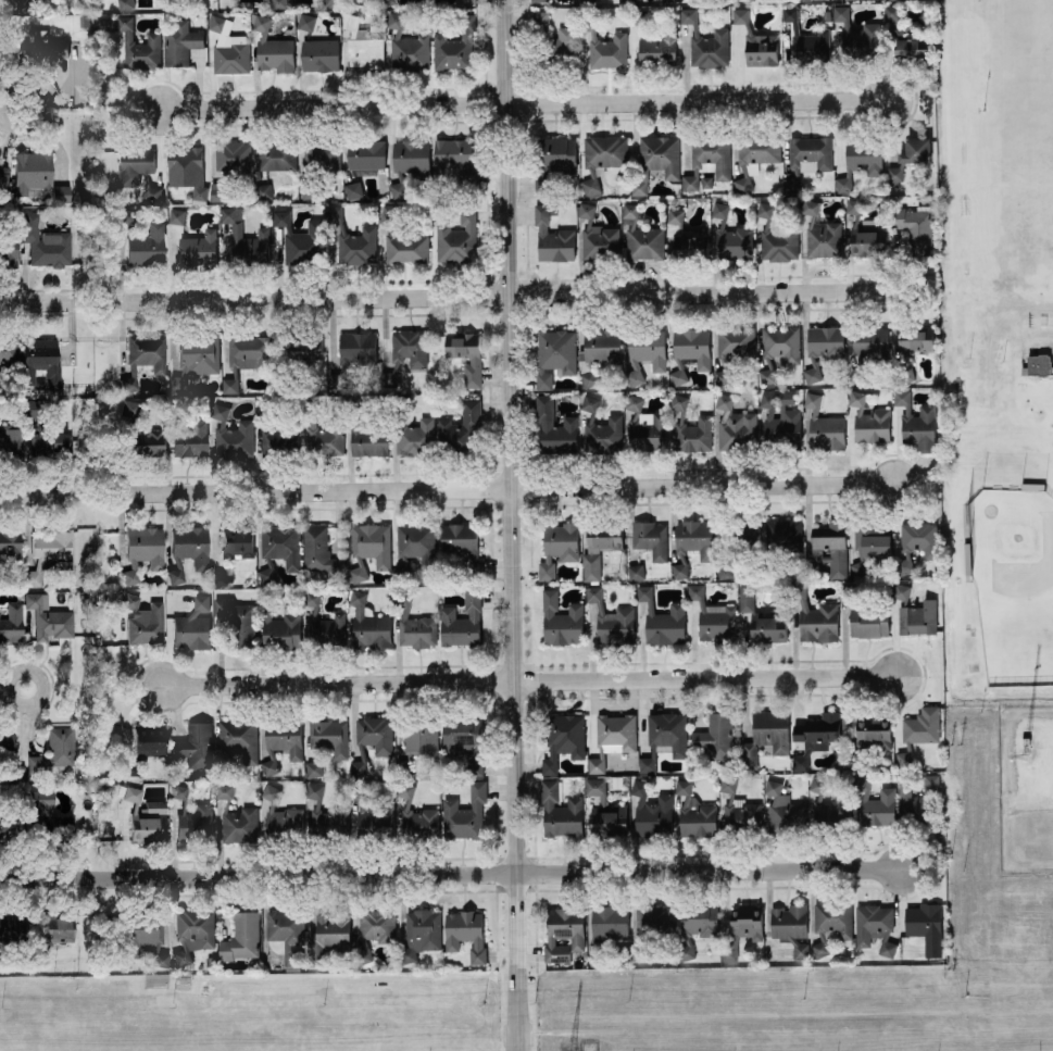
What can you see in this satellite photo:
building: (8, 0)
building: (539, 0)
building: (582, 0)
building: (626, 0)
building: (674, 0)
building: (387, 1)
building: (465, 1)
building: (330, 2)
building: (125, 3)
building: (279, 3)
building: (25, 4)
building: (74, 10)
building: (890, 12)
building: (638, 15)
building: (740, 15)
building: (540, 18)
building: (84, 20)
building: (306, 21)
building: (106, 24)
building: (856, 34)
building: (806, 40)
building: (180, 41)
building: (563, 41)
building: (706, 42)
building: (362, 45)
building: (406, 45)
building: (139, 46)
building: (603, 46)
building: (228, 47)
building: (273, 48)
building: (657, 48)
building: (911, 48)
building: (42, 49)
building: (762, 49)
building: (452, 51)
building: (321, 54)
building: (5, 55)
park: (1027, 82)
road: (525, 102)
road: (41, 110)
building: (605, 150)
building: (757, 151)
building: (277, 154)
building: (366, 155)
building: (910, 157)
building: (707, 158)
building: (807, 158)
building: (555, 160)
building: (861, 160)
building: (319, 161)
building: (409, 161)
building: (655, 161)
building: (455, 162)
building: (229, 164)
building: (137, 168)
building: (187, 170)
building: (32, 171)
building: (149, 178)
building: (4, 180)
building: (742, 184)
building: (591, 186)
building: (352, 188)
building: (263, 190)
building: (61, 193)
building: (176, 214)
building: (914, 228)
building: (865, 232)
building: (820, 233)
building: (641, 235)
building: (731, 235)
building: (597, 236)
building: (298, 237)
building: (456, 237)
building: (552, 237)
building: (776, 237)
building: (685, 238)
building: (352, 239)
building: (401, 239)
building: (246, 240)
building: (45, 241)
building: (143, 241)
building: (197, 248)
building: (9, 250)
road: (526, 296)
road: (36, 303)
building: (912, 346)
building: (732, 347)
building: (822, 347)
building: (778, 348)
building: (866, 348)
building: (9, 350)
building: (689, 350)
building: (406, 351)
building: (353, 352)
building: (597, 352)
building: (645, 352)
building: (465, 353)
building: (554, 354)
building: (246, 355)
building: (299, 355)
building: (145, 356)
building: (196, 356)
building: (40, 362)
building: (1039, 364)
building: (868, 418)
building: (780, 420)
building: (915, 421)
building: (734, 423)
building: (824, 424)
building: (554, 426)
building: (644, 426)
building: (462, 427)
building: (690, 427)
building: (601, 428)
building: (275, 430)
building: (322, 430)
building: (366, 431)
building: (140, 433)
building: (188, 433)
building: (414, 434)
building: (233, 435)
building: (47, 436)
building: (13, 440)
building: (89, 448)
road: (509, 488)
road: (37, 495)
road: (515, 525)
building: (741, 535)
building: (650, 537)
building: (781, 537)
building: (238, 540)
building: (691, 542)
building: (11, 543)
building: (869, 543)
building: (915, 543)
building: (599, 545)
building: (463, 546)
building: (831, 546)
building: (414, 547)
building: (557, 547)
building: (369, 548)
building: (278, 549)
building: (143, 550)
building: (188, 550)
building: (51, 552)
building: (321, 553)
building: (725, 568)
building: (636, 571)
building: (221, 577)
park: (1021, 595)
building: (915, 612)
building: (865, 614)
building: (713, 615)
building: (816, 616)
building: (763, 617)
building: (49, 618)
building: (662, 618)
building: (143, 620)
building: (561, 620)
building: (612, 620)
building: (461, 621)
building: (237, 622)
building: (323, 622)
building: (12, 623)
building: (368, 624)
building: (414, 624)
building: (92, 625)
building: (193, 625)
building: (279, 626)
road: (531, 683)
road: (3, 688)
road: (41, 688)
building: (918, 730)
building: (328, 735)
building: (715, 735)
building: (765, 735)
building: (815, 736)
building: (8, 737)
building: (612, 737)
building: (664, 737)
building: (563, 738)
building: (372, 739)
building: (281, 740)
building: (465, 740)
building: (867, 740)
building: (1025, 740)
building: (237, 741)
building: (418, 741)
building: (196, 745)
building: (145, 749)
building: (57, 751)
road: (1029, 766)
building: (313, 767)
building: (17, 773)
building: (616, 781)
power substation: (1025, 788)
building: (917, 801)
building: (875, 802)
building: (604, 808)
building: (782, 810)
building: (829, 810)
building: (560, 811)
building: (651, 811)
building: (739, 811)
building: (694, 812)
building: (281, 813)
building: (464, 813)
building: (326, 815)
building: (146, 816)
building: (373, 816)
building: (417, 816)
building: (192, 817)
building: (236, 818)
building: (52, 819)
building: (11, 828)
road: (452, 873)
building: (830, 922)
building: (695, 924)
building: (606, 925)
building: (926, 925)
building: (653, 926)
building: (743, 926)
building: (790, 926)
building: (875, 926)
building: (11, 927)
building: (374, 930)
building: (564, 930)
building: (55, 931)
building: (192, 931)
building: (465, 931)
building: (421, 933)
building: (287, 935)
building: (241, 936)
building: (328, 936)
building: (145, 937)
building: (211, 961)
road: (582, 1031)
power tower: (573, 1049)

